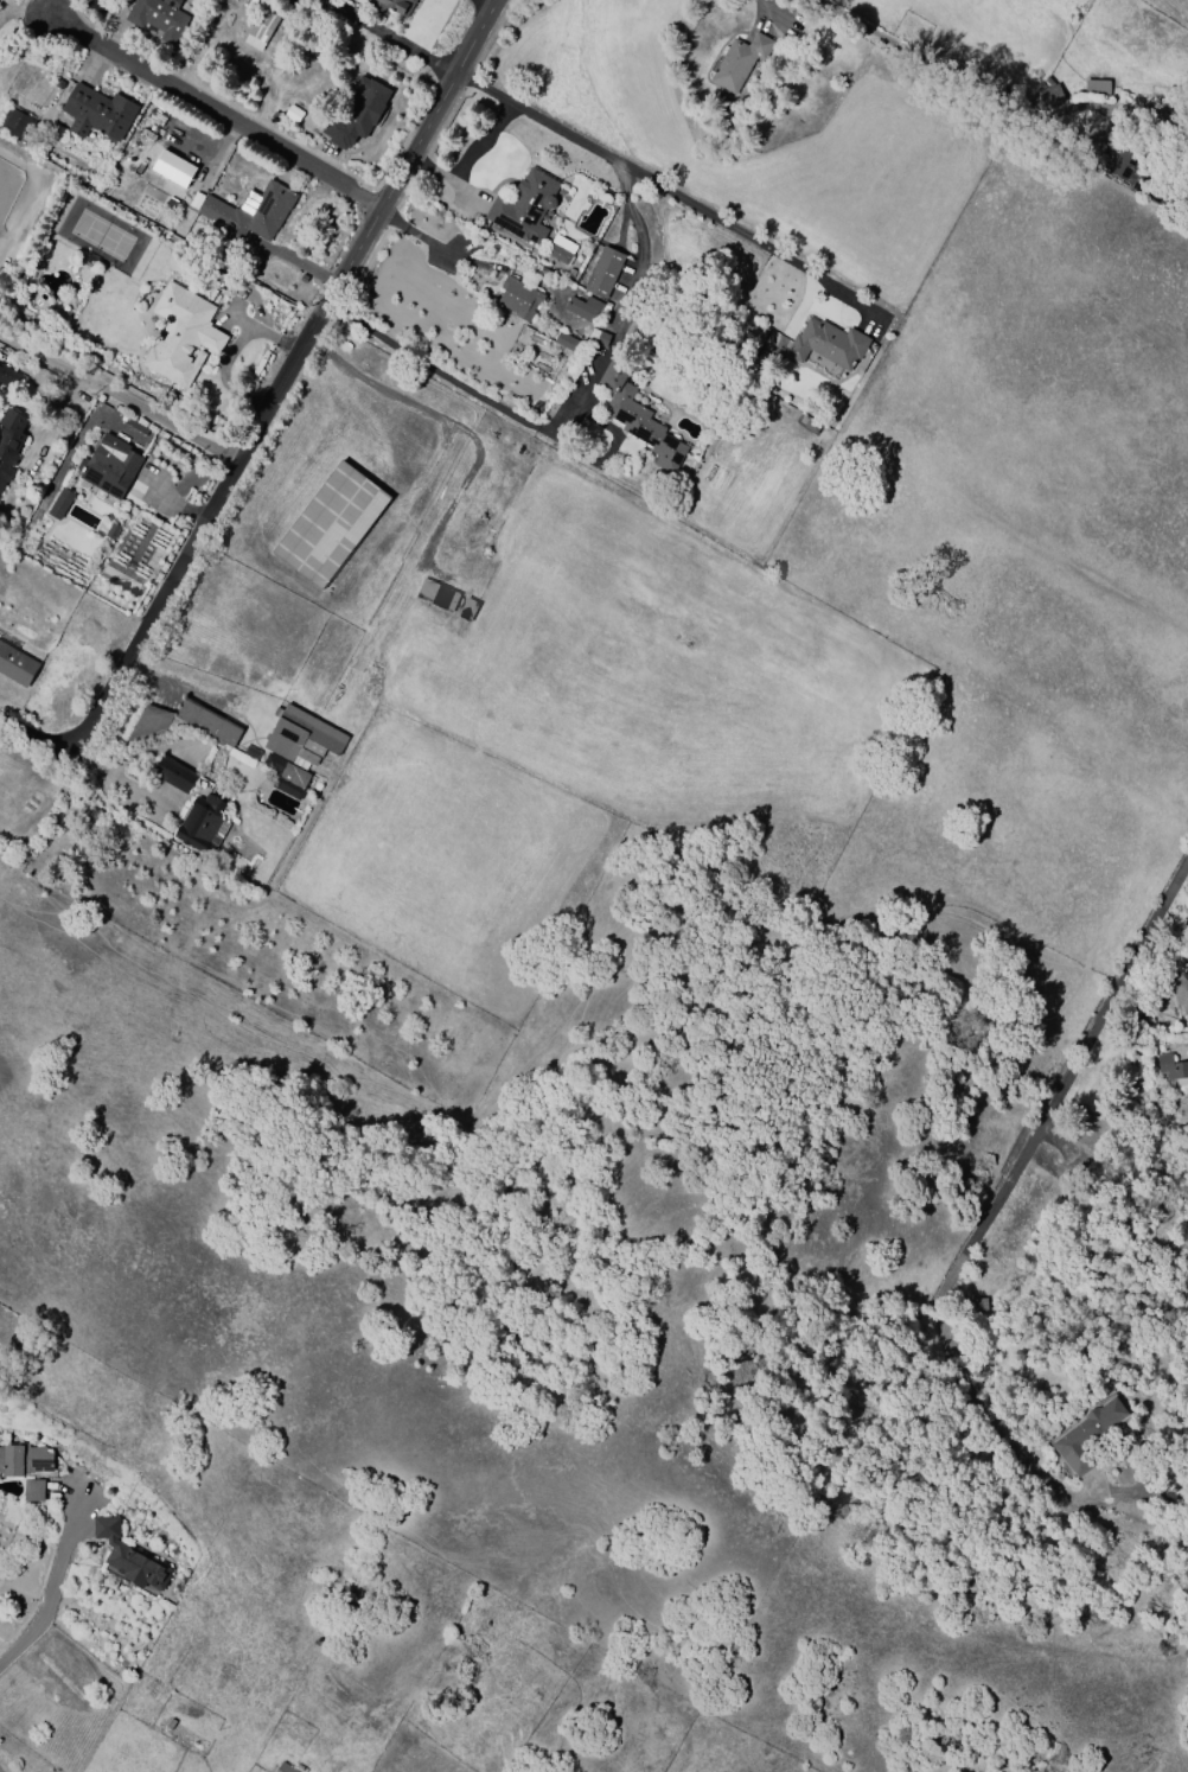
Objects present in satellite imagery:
building: (392, 5)
building: (158, 18)
building: (262, 26)
road: (381, 36)
building: (739, 63)
road: (944, 71)
building: (1096, 88)
building: (1049, 97)
road: (1132, 104)
building: (97, 113)
building: (357, 113)
road: (215, 114)
building: (14, 126)
building: (172, 168)
building: (1136, 176)
road: (658, 187)
building: (194, 202)
building: (524, 208)
building: (249, 212)
building: (558, 249)
road: (459, 255)
building: (603, 272)
building: (547, 274)
building: (215, 276)
building: (517, 298)
building: (582, 310)
building: (180, 334)
building: (596, 337)
road: (309, 343)
building: (826, 344)
building: (563, 345)
building: (9, 380)
road: (117, 395)
road: (261, 412)
building: (637, 416)
road: (512, 417)
building: (9, 442)
building: (109, 466)
road: (414, 490)
building: (59, 504)
building: (330, 525)
building: (111, 533)
road: (435, 572)
building: (436, 595)
building: (466, 610)
building: (15, 667)
building: (179, 726)
building: (296, 748)
building: (250, 753)
building: (172, 775)
road: (116, 780)
building: (198, 822)
building: (1180, 990)
building: (1187, 1053)
building: (1173, 1069)
road: (1055, 1094)
building: (978, 1305)
building: (1086, 1435)
building: (24, 1460)
building: (32, 1491)
building: (129, 1559)
road: (55, 1594)
building: (283, 1768)

